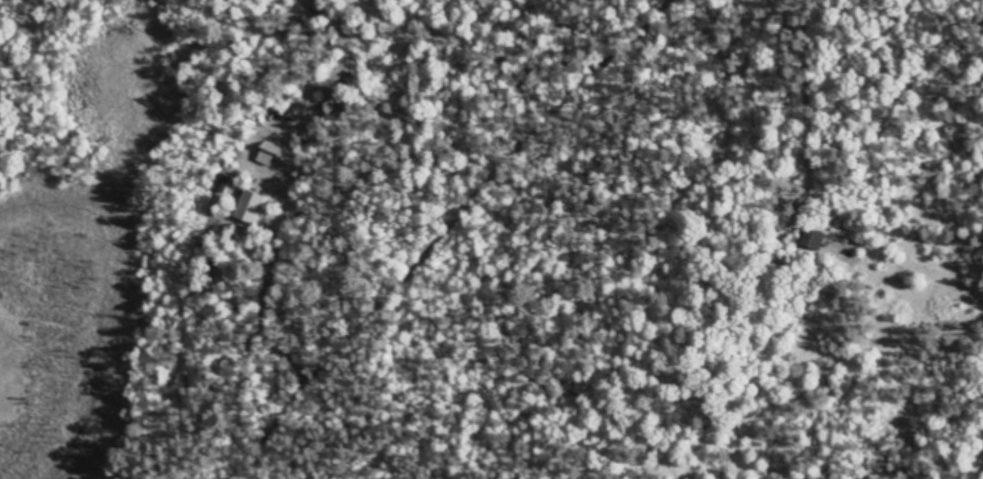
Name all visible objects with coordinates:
road: (409, 236)
building: (821, 239)

